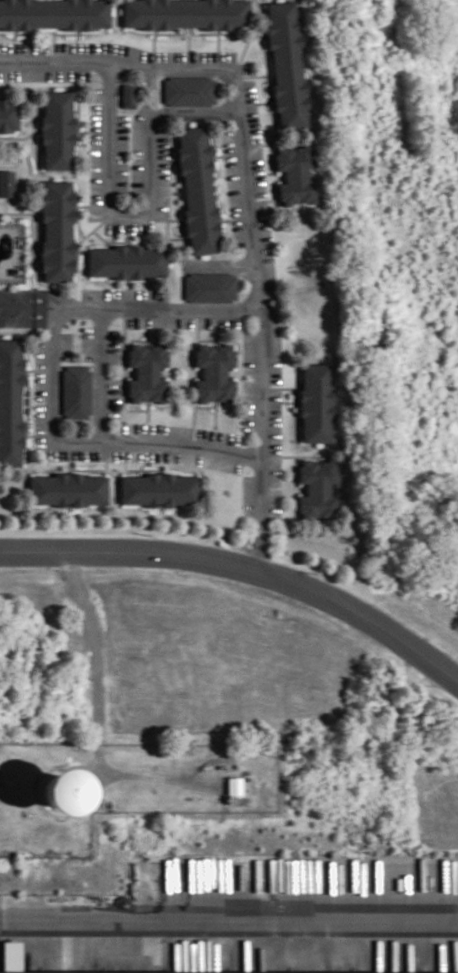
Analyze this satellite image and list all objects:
building: (54, 13)
building: (186, 13)
building: (287, 63)
parking lot: (246, 67)
parking lot: (95, 91)
building: (188, 91)
building: (128, 92)
building: (8, 115)
building: (57, 129)
parking lot: (95, 159)
parking lot: (161, 173)
building: (295, 175)
park: (8, 177)
building: (6, 183)
parking lot: (232, 184)
building: (197, 190)
road: (249, 202)
road: (145, 209)
parking lot: (129, 225)
building: (57, 230)
building: (127, 260)
building: (210, 285)
parking lot: (124, 293)
road: (129, 306)
parking lot: (159, 320)
parking lot: (220, 321)
parking lot: (86, 342)
parking lot: (274, 343)
parking lot: (66, 345)
parking lot: (40, 366)
building: (215, 371)
road: (100, 373)
building: (147, 373)
building: (77, 390)
building: (11, 402)
parking lot: (249, 403)
building: (315, 403)
parking lot: (40, 425)
parking lot: (157, 428)
parking lot: (218, 435)
road: (92, 440)
building: (317, 487)
building: (67, 489)
building: (159, 489)
road: (243, 564)
road: (97, 713)
building: (236, 784)
water tower: (67, 788)
building: (61, 791)
road: (39, 803)
road: (229, 916)
building: (13, 955)
building: (206, 972)

